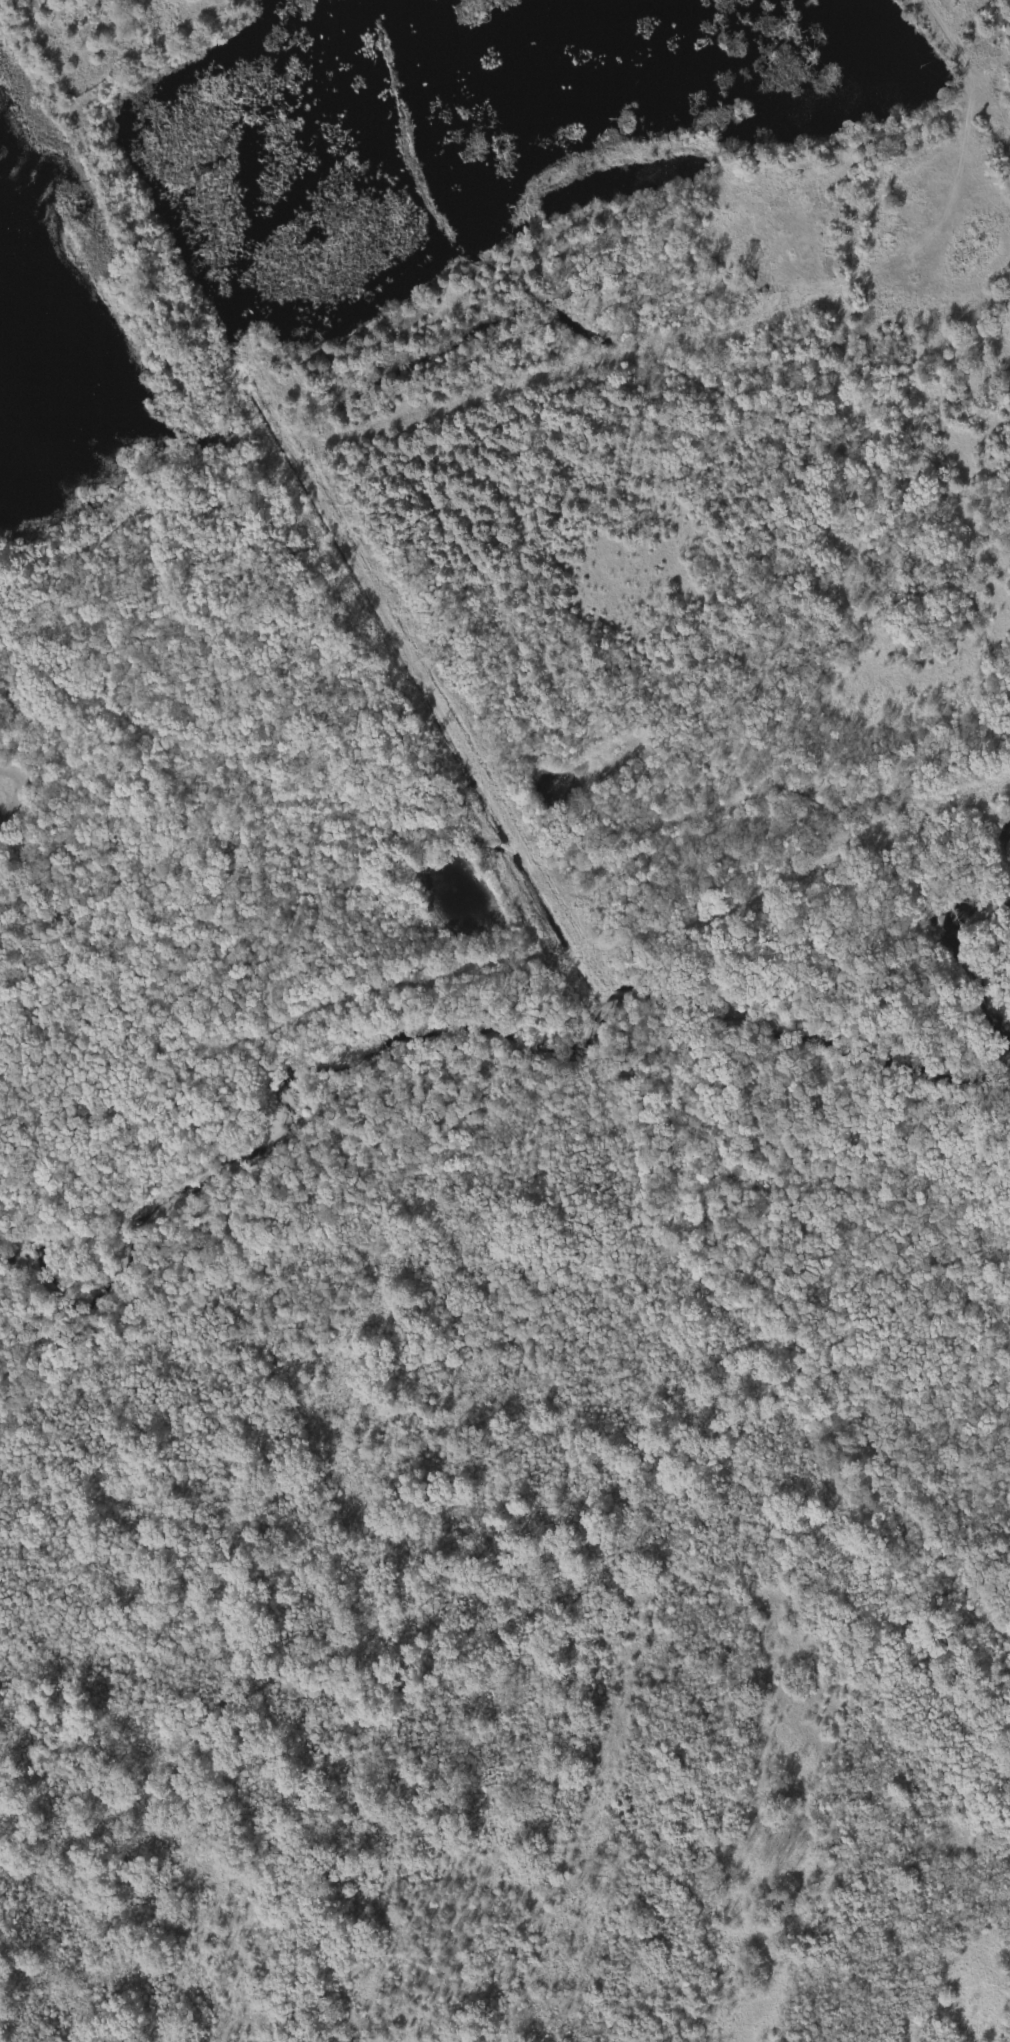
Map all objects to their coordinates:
road: (971, 61)
road: (922, 272)
road: (967, 289)
road: (934, 320)

